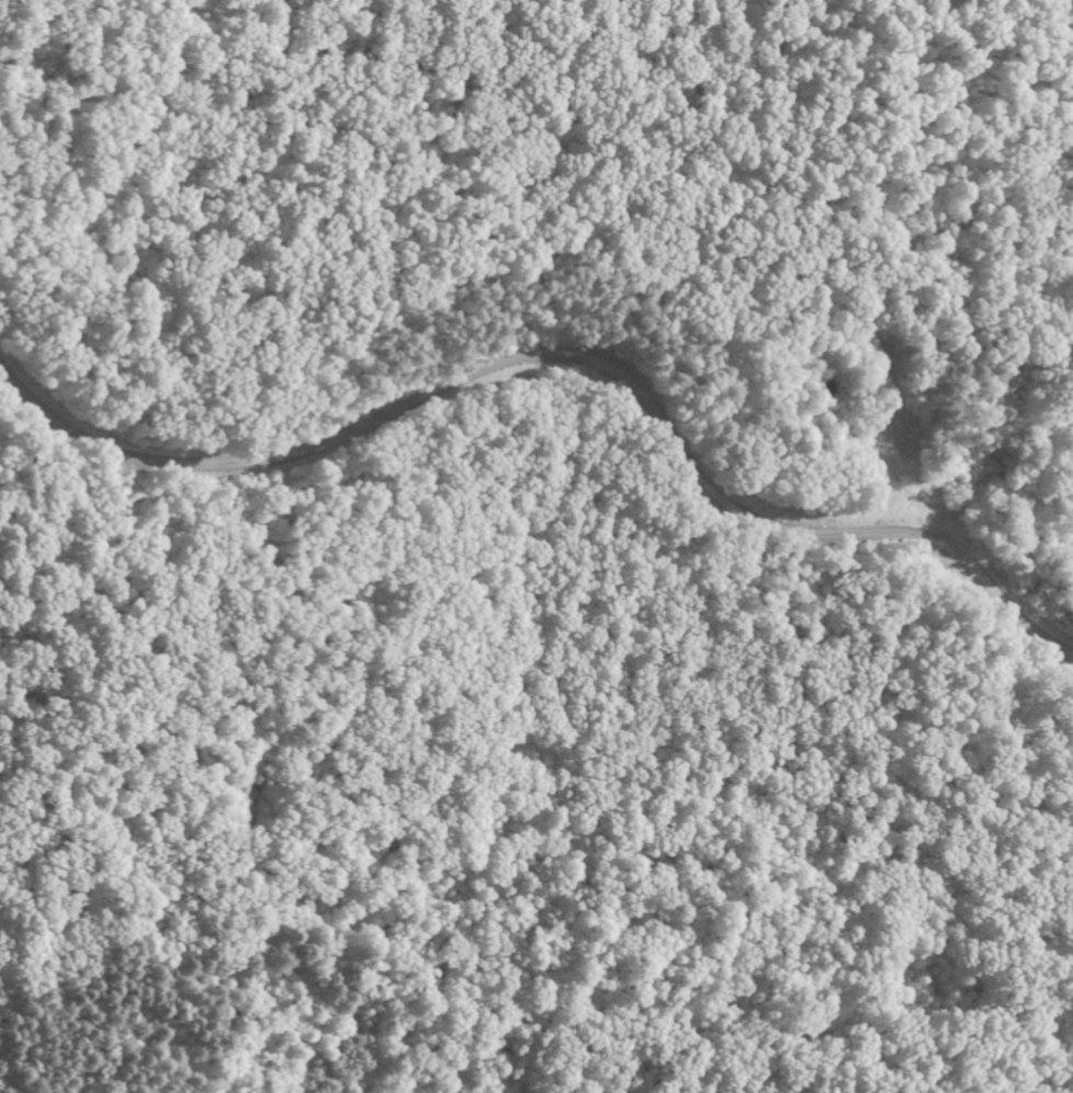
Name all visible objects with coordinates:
road: (558, 362)

